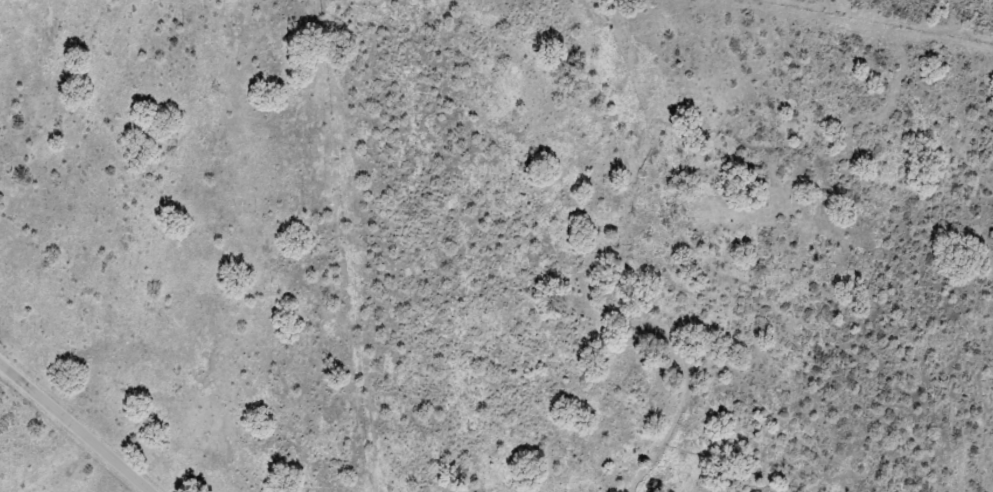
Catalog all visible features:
road: (72, 428)

